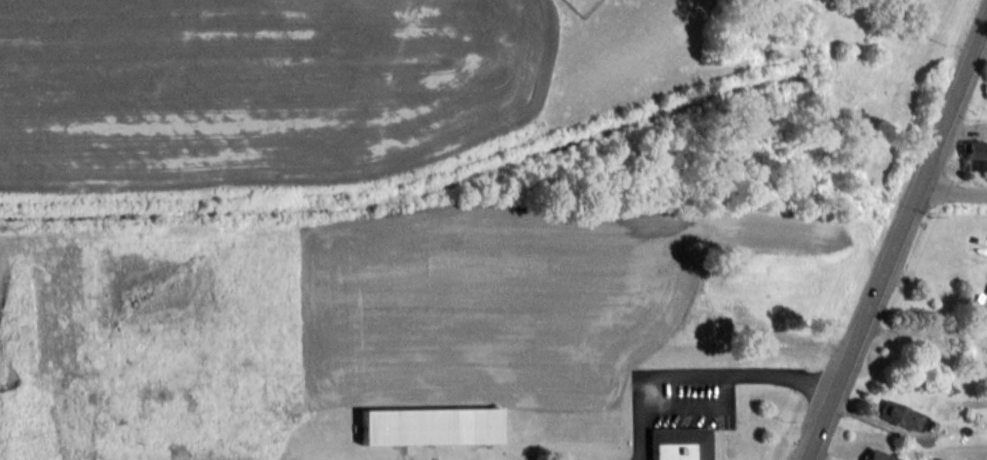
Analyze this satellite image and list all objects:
road: (950, 106)
building: (975, 155)
road: (950, 194)
road: (859, 327)
road: (695, 375)
building: (897, 415)
building: (428, 426)
building: (677, 443)
building: (877, 455)

